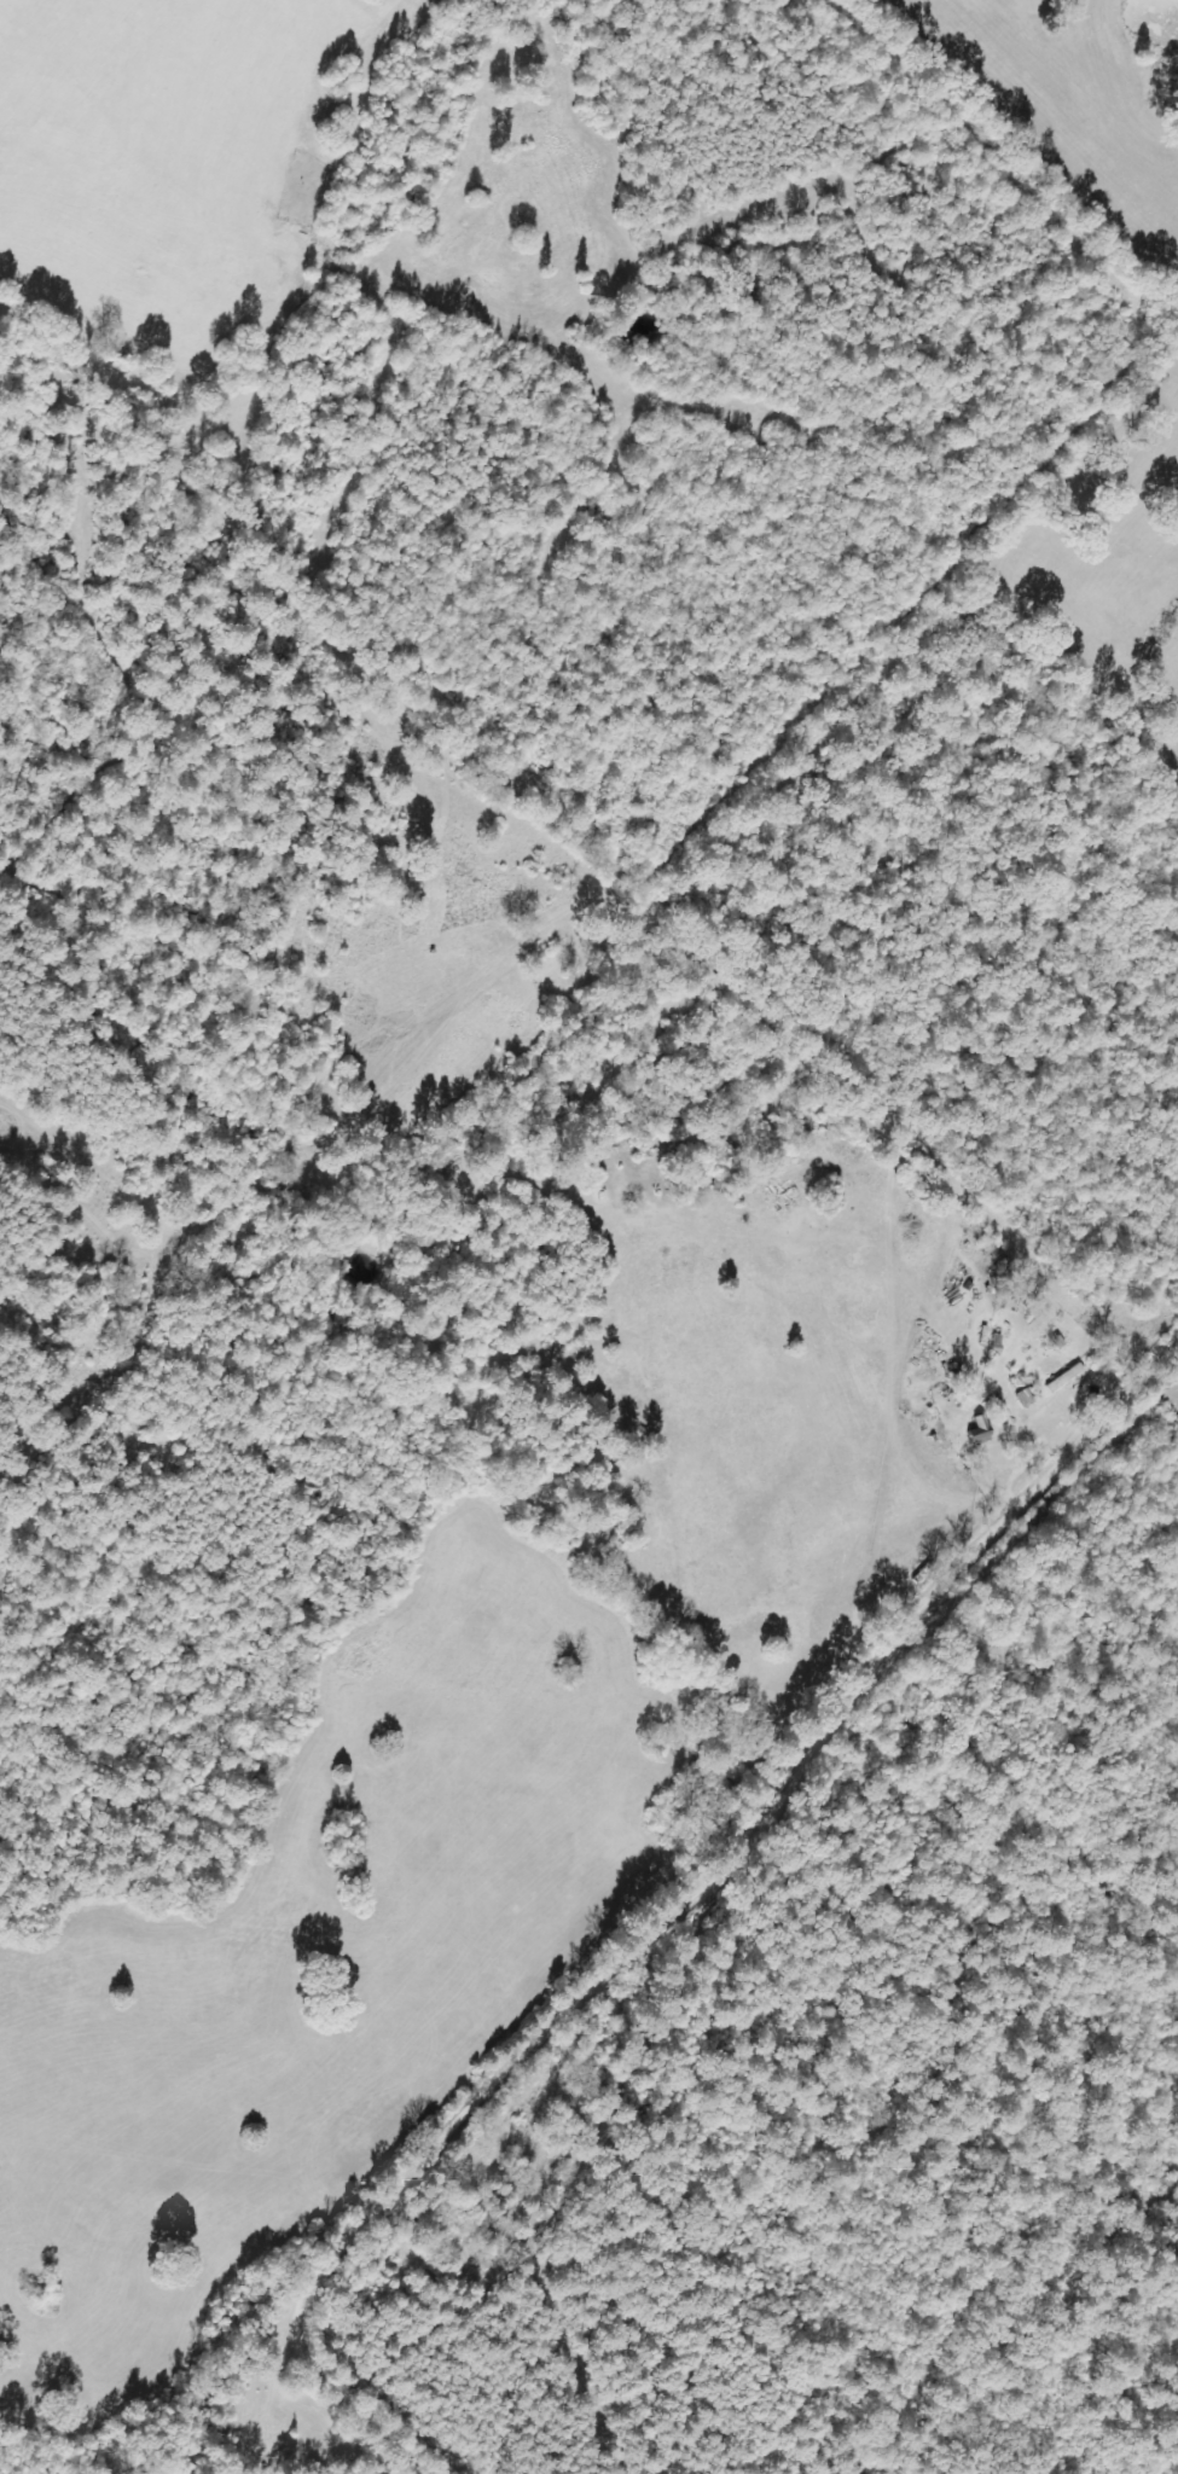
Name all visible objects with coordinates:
building: (1031, 1399)
road: (663, 1901)

